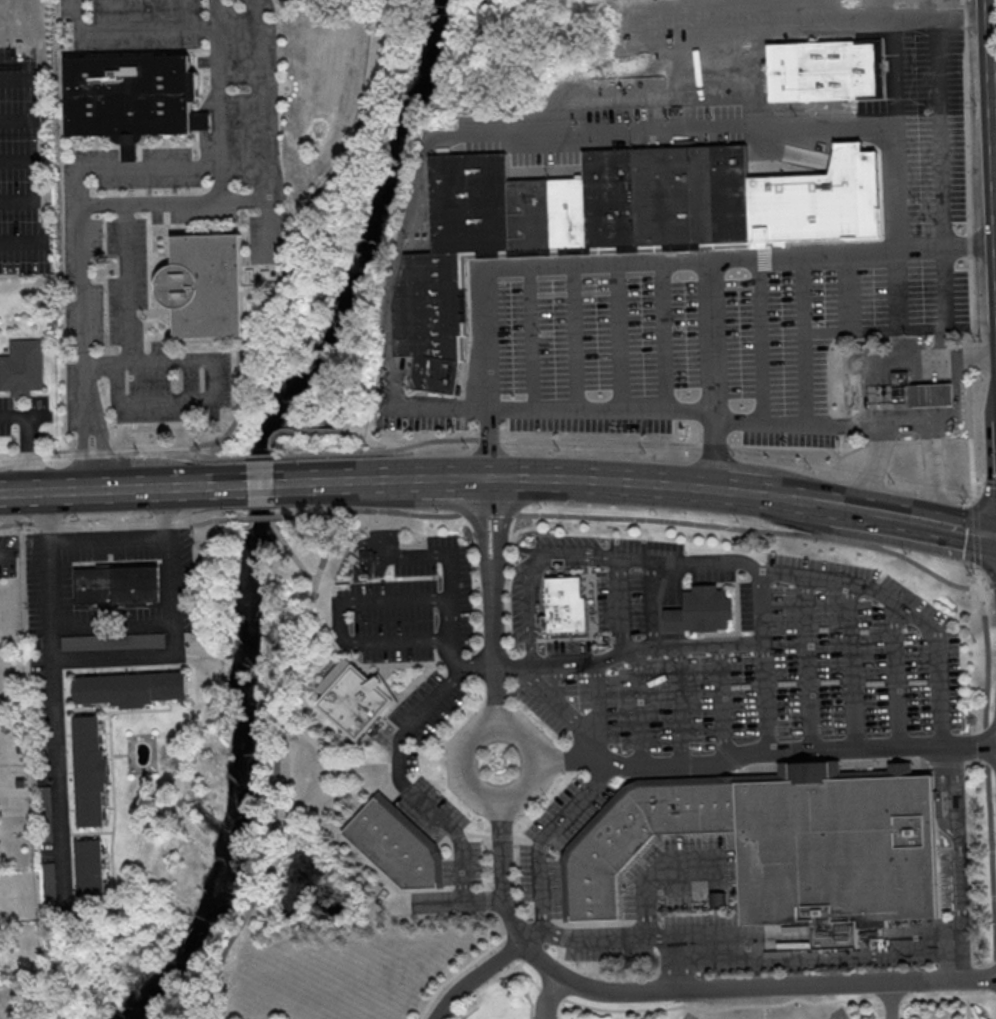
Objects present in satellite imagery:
parking lot: (919, 4)
road: (937, 10)
road: (646, 11)
road: (213, 13)
road: (73, 14)
road: (970, 18)
road: (883, 19)
parking lot: (727, 26)
road: (995, 30)
road: (901, 52)
building: (830, 72)
road: (21, 77)
building: (133, 100)
road: (22, 118)
road: (258, 119)
road: (944, 133)
road: (483, 137)
parking lot: (927, 137)
road: (22, 161)
road: (126, 167)
road: (23, 195)
building: (723, 195)
building: (667, 197)
building: (615, 198)
building: (815, 202)
road: (170, 203)
building: (472, 203)
building: (571, 213)
building: (532, 214)
road: (24, 225)
road: (901, 228)
road: (24, 253)
road: (638, 261)
building: (434, 268)
building: (207, 288)
road: (854, 291)
building: (431, 293)
road: (130, 305)
building: (430, 321)
road: (914, 328)
road: (540, 336)
road: (580, 336)
road: (627, 336)
road: (670, 336)
parking lot: (689, 336)
road: (809, 338)
road: (766, 339)
road: (938, 342)
road: (972, 346)
building: (432, 347)
road: (925, 357)
road: (942, 370)
road: (719, 372)
building: (22, 373)
building: (439, 374)
road: (944, 394)
building: (855, 395)
building: (908, 396)
road: (883, 397)
road: (199, 398)
road: (607, 410)
road: (801, 421)
road: (911, 422)
road: (34, 437)
road: (820, 446)
road: (130, 448)
road: (212, 455)
road: (873, 464)
road: (932, 470)
road: (455, 477)
road: (601, 477)
road: (984, 480)
road: (364, 481)
road: (993, 481)
road: (290, 484)
road: (260, 485)
road: (741, 488)
road: (122, 490)
road: (797, 495)
road: (843, 502)
road: (260, 517)
road: (929, 517)
road: (646, 518)
road: (122, 525)
road: (480, 526)
road: (498, 526)
road: (982, 531)
road: (128, 537)
road: (4, 549)
building: (369, 561)
road: (696, 562)
road: (457, 564)
road: (539, 570)
road: (991, 584)
building: (119, 585)
road: (658, 602)
road: (624, 604)
building: (570, 607)
building: (704, 610)
road: (909, 610)
road: (345, 617)
road: (492, 647)
road: (167, 651)
road: (631, 651)
road: (771, 659)
road: (813, 662)
road: (856, 664)
road: (901, 674)
building: (132, 688)
road: (53, 694)
building: (360, 701)
road: (726, 701)
road: (686, 703)
road: (647, 706)
road: (606, 708)
road: (571, 709)
road: (476, 728)
road: (768, 747)
building: (92, 770)
road: (407, 770)
road: (583, 800)
road: (956, 801)
building: (649, 834)
building: (397, 847)
building: (839, 851)
road: (661, 872)
building: (92, 874)
road: (466, 902)
road: (959, 920)
road: (558, 932)
road: (539, 933)
road: (800, 957)
road: (684, 976)
road: (480, 978)
road: (680, 991)
road: (556, 997)
road: (896, 1000)
park: (729, 1007)
road: (844, 1017)

